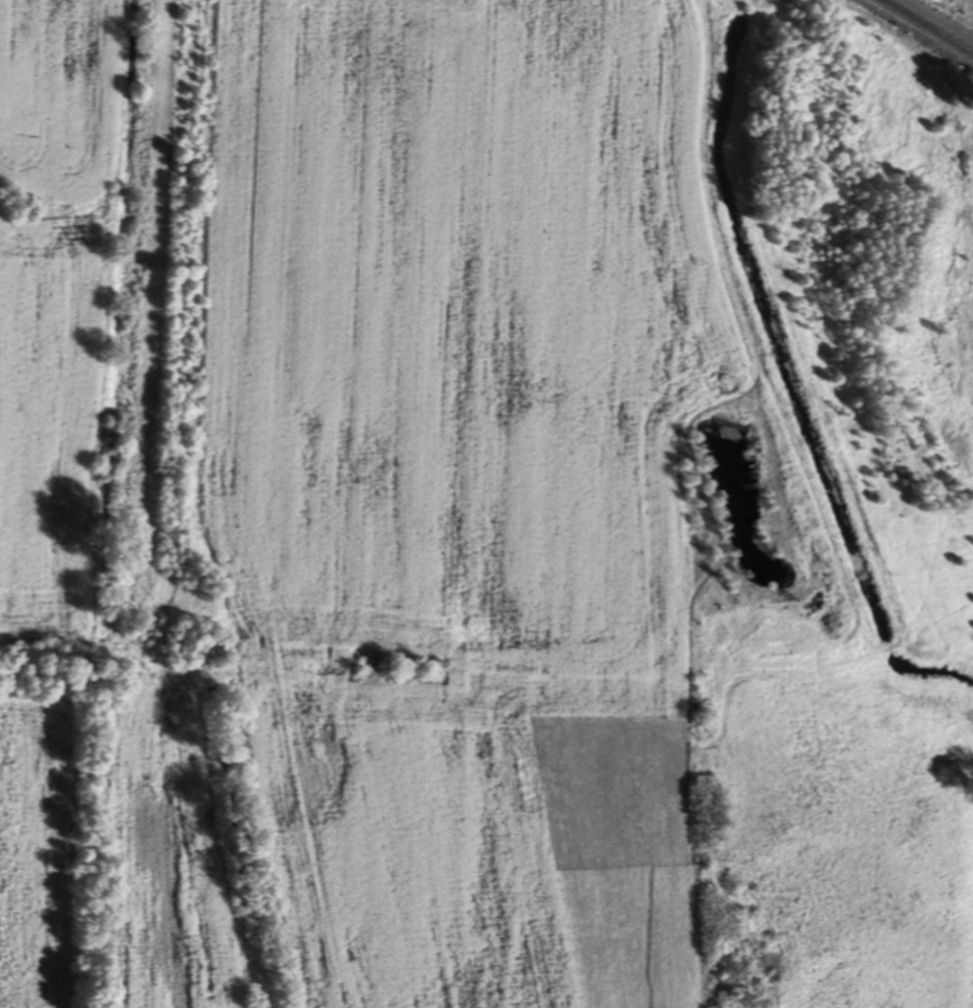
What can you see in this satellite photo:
railway: (924, 28)

